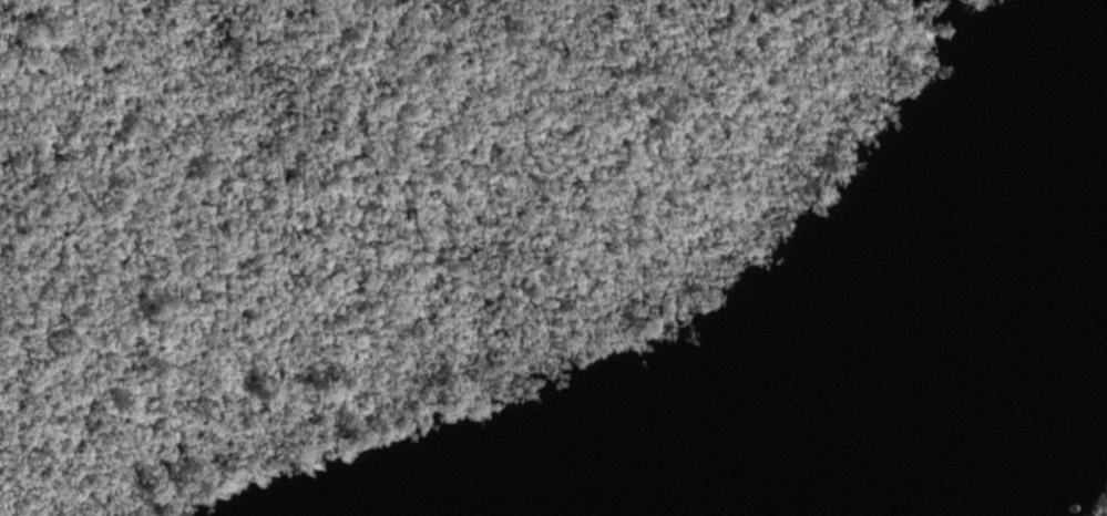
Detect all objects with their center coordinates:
river: (942, 360)

